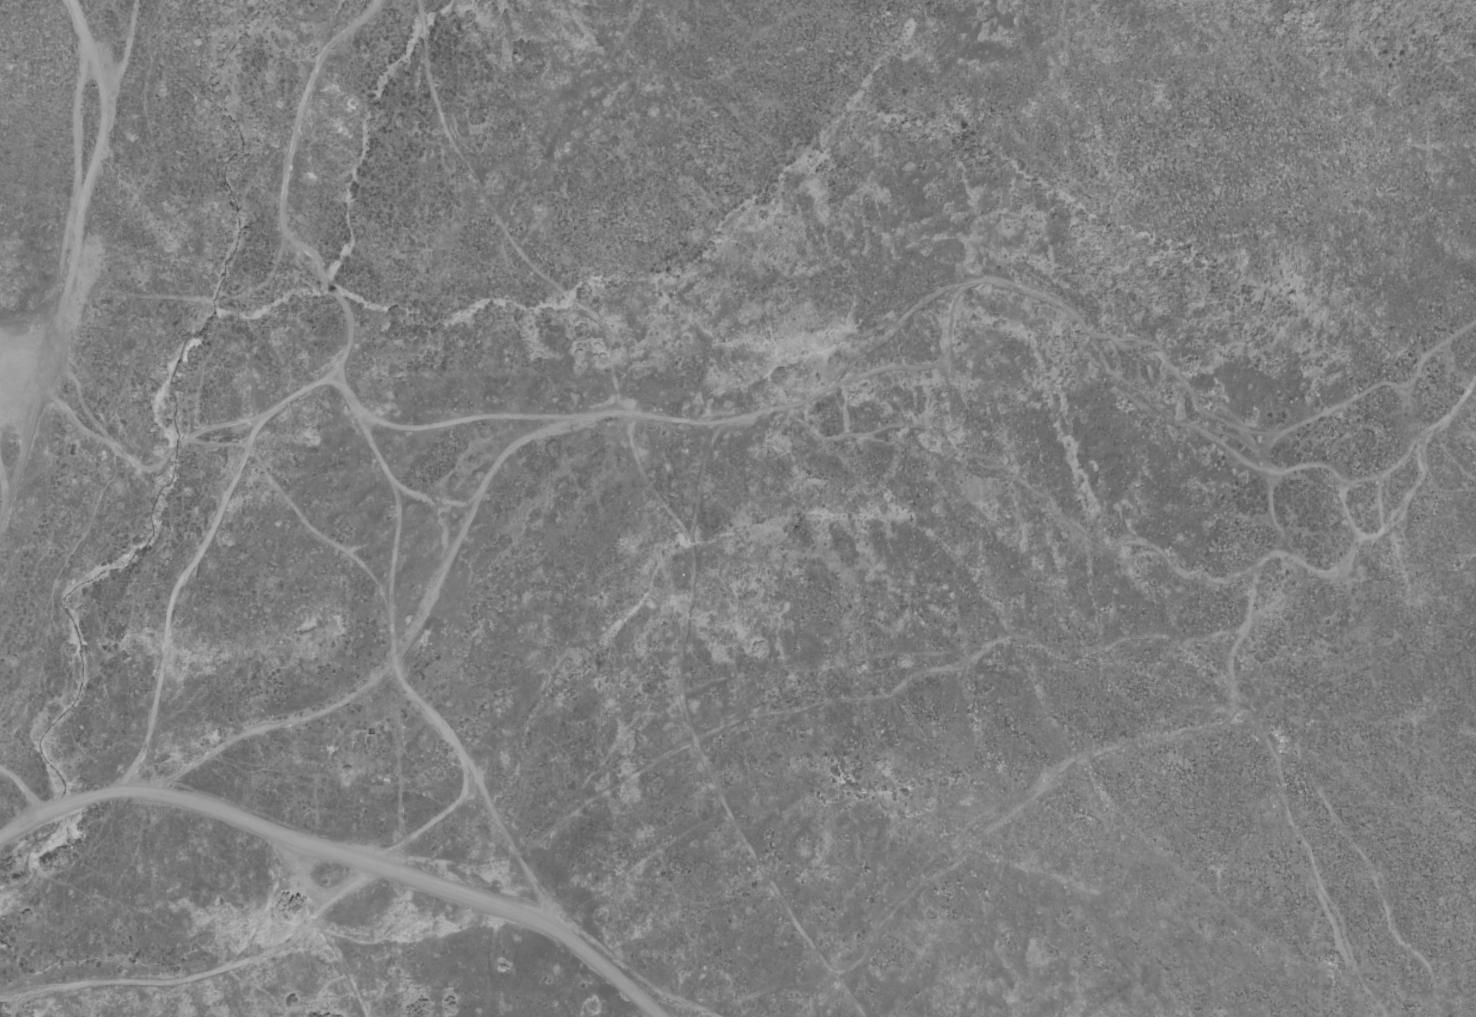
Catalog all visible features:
road: (73, 264)
road: (941, 299)
road: (1183, 373)
road: (319, 390)
road: (728, 408)
road: (879, 433)
road: (1425, 462)
road: (1296, 471)
road: (464, 800)
road: (1291, 811)
road: (510, 836)
road: (344, 852)
road: (612, 954)
road: (254, 959)
road: (1451, 1009)

